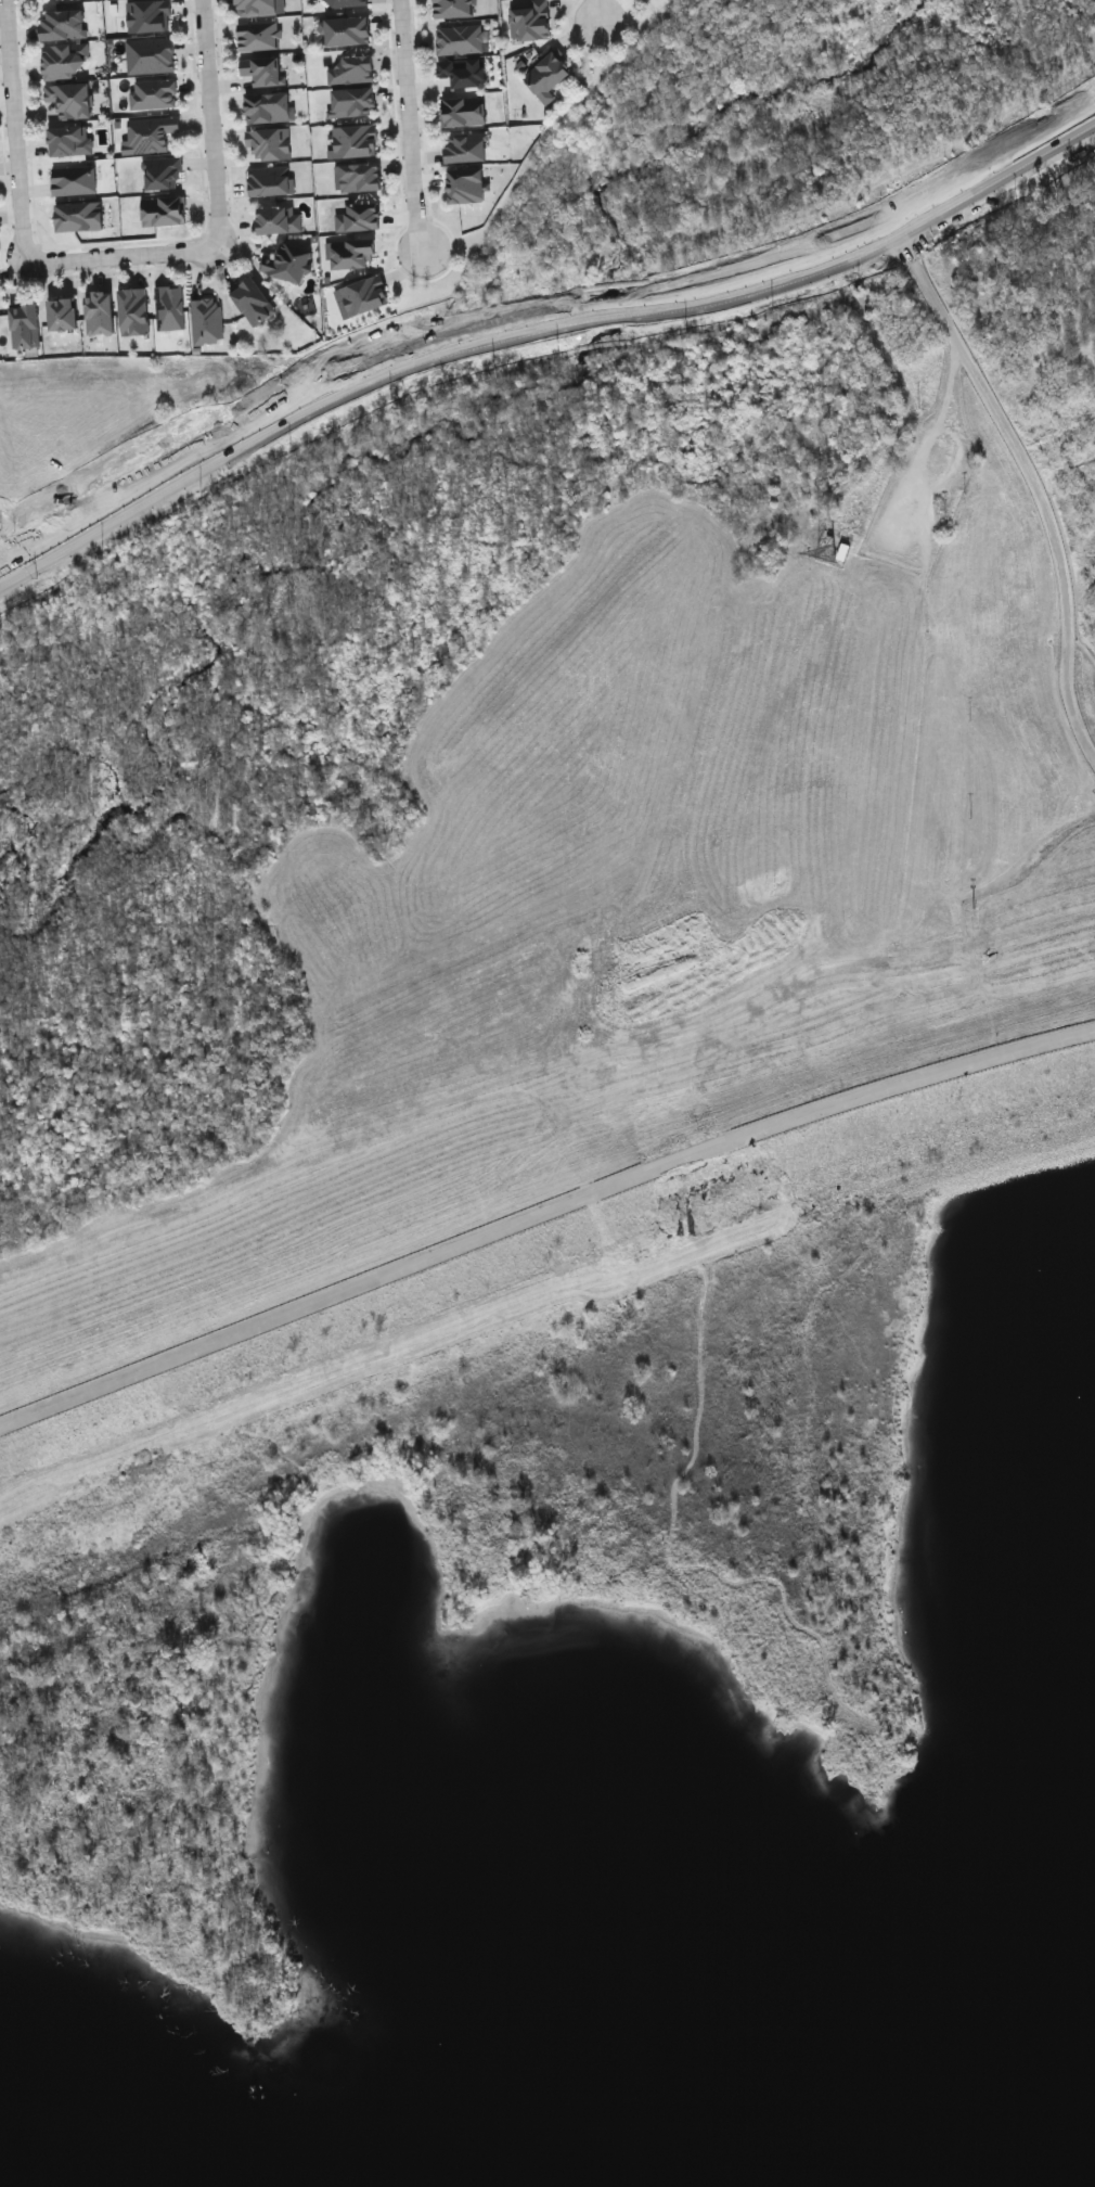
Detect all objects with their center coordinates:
building: (345, 2)
building: (256, 7)
building: (453, 8)
road: (601, 12)
building: (147, 15)
building: (530, 22)
building: (63, 24)
building: (346, 29)
building: (258, 34)
building: (460, 38)
building: (150, 54)
building: (65, 60)
building: (260, 69)
building: (352, 69)
building: (463, 72)
building: (546, 76)
building: (153, 92)
building: (69, 98)
building: (352, 103)
building: (269, 108)
building: (464, 112)
road: (18, 126)
road: (414, 127)
road: (215, 128)
building: (150, 135)
building: (69, 139)
building: (353, 139)
building: (269, 141)
building: (466, 148)
building: (162, 171)
building: (360, 177)
building: (73, 178)
building: (272, 181)
building: (465, 183)
building: (164, 208)
building: (78, 214)
building: (358, 215)
building: (279, 217)
road: (904, 244)
building: (352, 252)
road: (120, 258)
building: (287, 260)
building: (364, 293)
building: (253, 299)
building: (99, 306)
building: (169, 306)
building: (133, 309)
building: (62, 311)
building: (207, 318)
building: (25, 324)
road: (540, 328)
road: (953, 384)
road: (1040, 496)
road: (907, 543)
road: (7, 563)
traffic signals: (14, 573)
road: (542, 1214)
park: (476, 1579)

